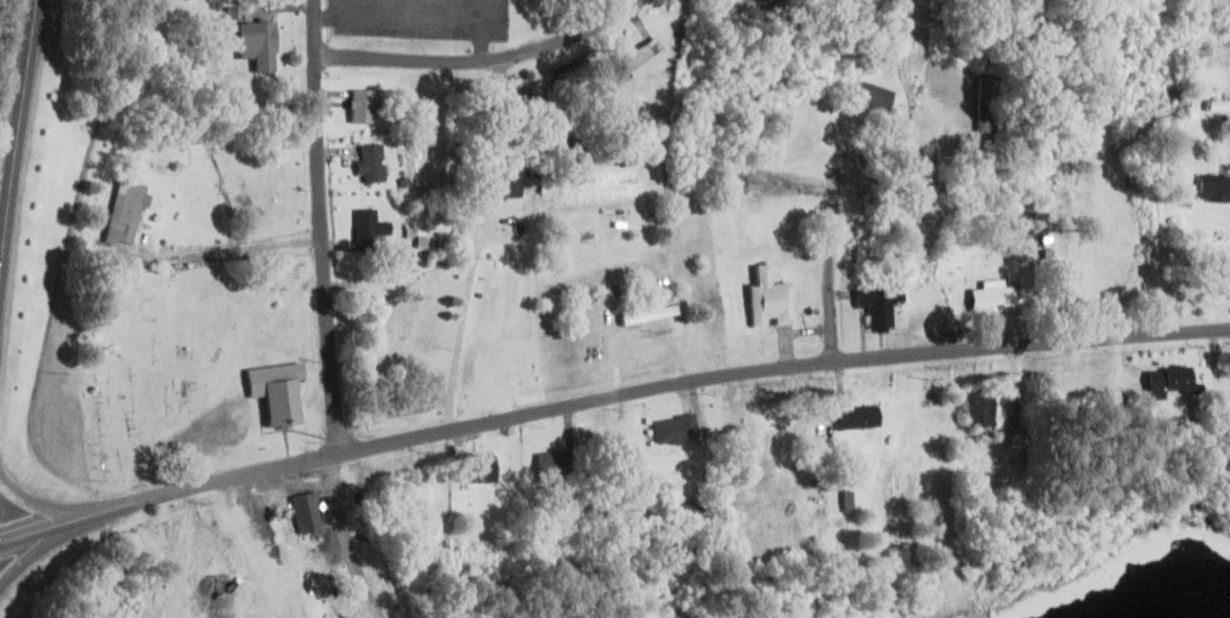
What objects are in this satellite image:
building: (756, 0)
building: (255, 46)
road: (481, 57)
building: (644, 59)
building: (871, 95)
building: (361, 107)
building: (597, 107)
building: (981, 107)
road: (12, 108)
building: (531, 109)
building: (499, 138)
building: (370, 164)
building: (733, 177)
building: (498, 187)
building: (277, 188)
building: (1213, 188)
building: (124, 214)
road: (319, 226)
building: (368, 229)
road: (214, 246)
road: (828, 249)
building: (991, 300)
building: (767, 301)
building: (877, 307)
road: (460, 319)
building: (1164, 382)
building: (272, 393)
road: (608, 399)
building: (977, 413)
building: (856, 418)
building: (759, 424)
building: (674, 430)
building: (555, 465)
building: (480, 469)
road: (47, 504)
building: (305, 512)
building: (691, 512)
building: (222, 523)
building: (183, 535)
road: (345, 539)
road: (50, 544)

